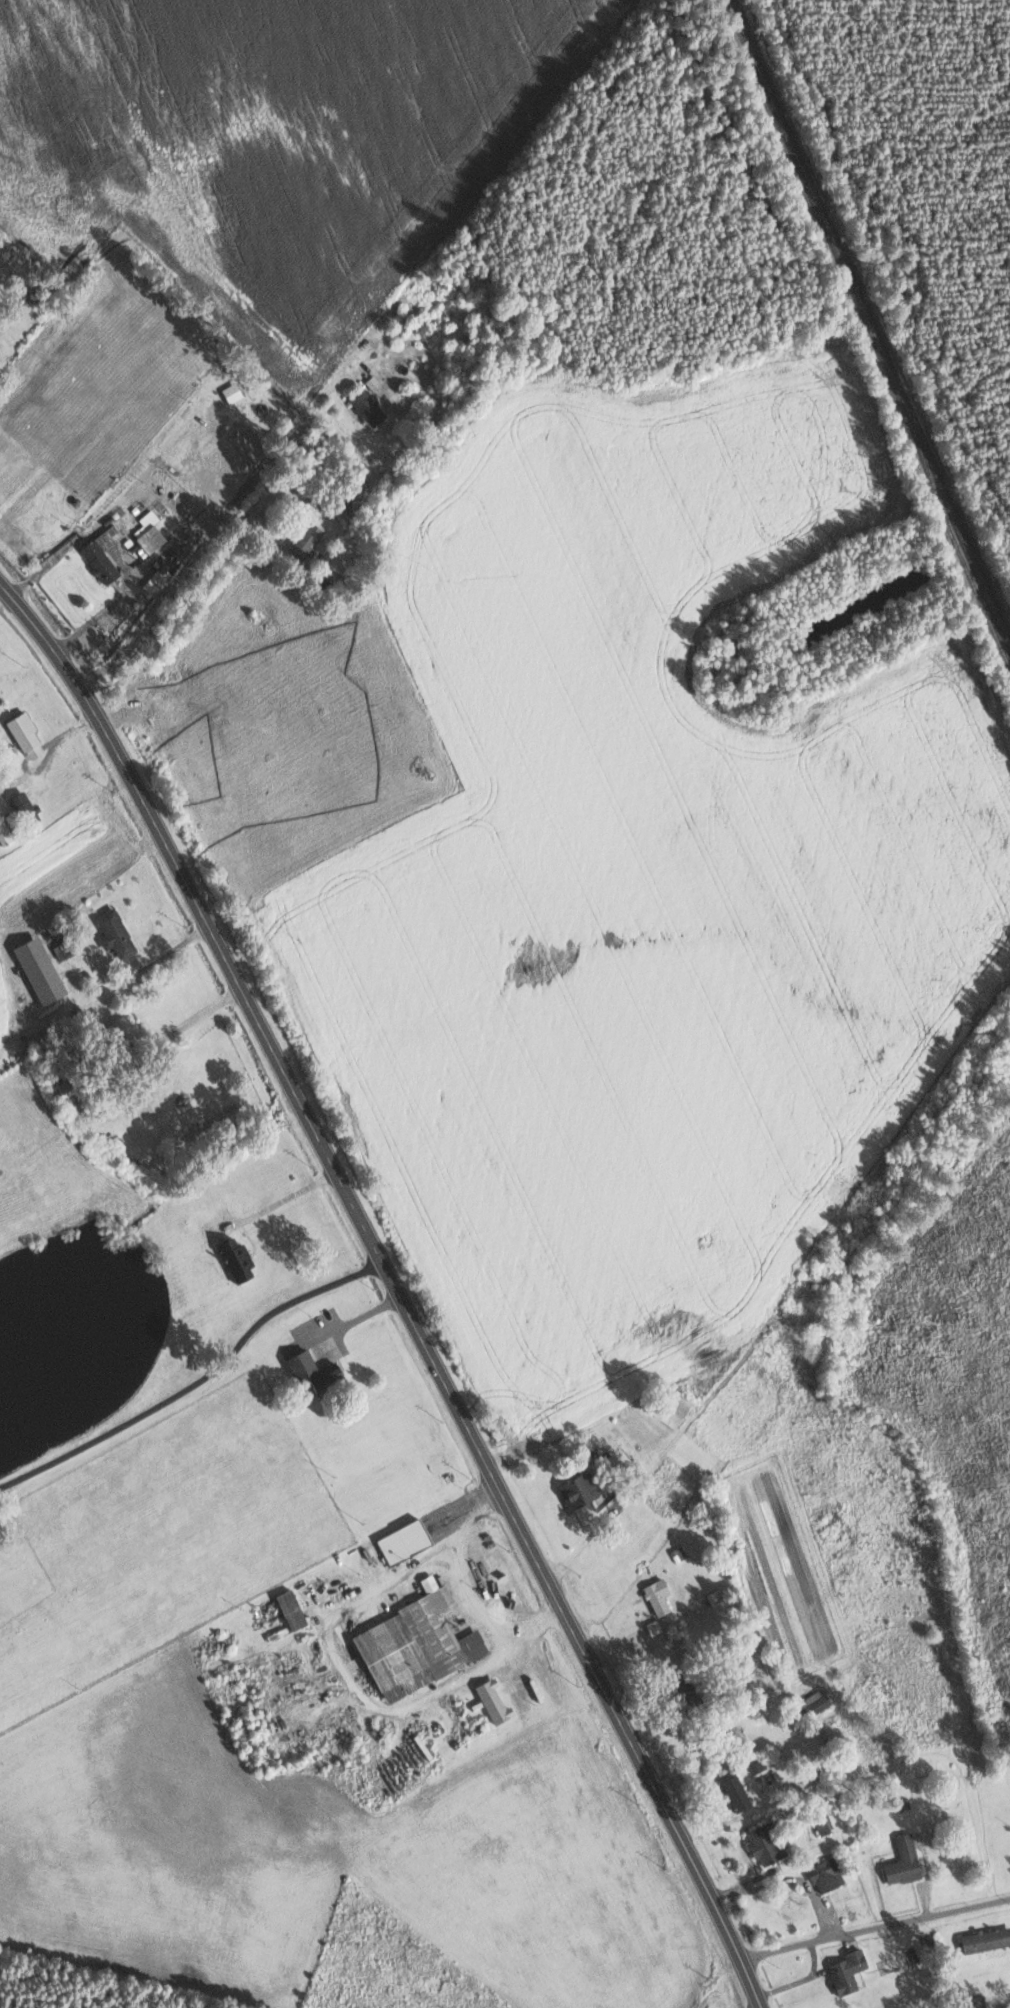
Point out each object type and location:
railway: (870, 319)
building: (374, 382)
building: (233, 392)
building: (369, 407)
road: (212, 537)
building: (149, 540)
building: (105, 552)
road: (47, 561)
building: (170, 563)
road: (106, 610)
building: (27, 736)
building: (23, 803)
building: (6, 834)
building: (117, 934)
building: (40, 970)
building: (128, 1026)
building: (67, 1090)
building: (237, 1259)
road: (393, 1289)
building: (314, 1370)
road: (195, 1381)
building: (677, 1409)
building: (581, 1489)
building: (405, 1541)
building: (659, 1597)
building: (716, 1597)
building: (293, 1610)
building: (418, 1644)
building: (495, 1702)
building: (816, 1702)
building: (737, 1792)
building: (824, 1821)
building: (767, 1842)
building: (905, 1860)
building: (827, 1874)
road: (874, 1929)
building: (986, 1939)
building: (849, 1970)

